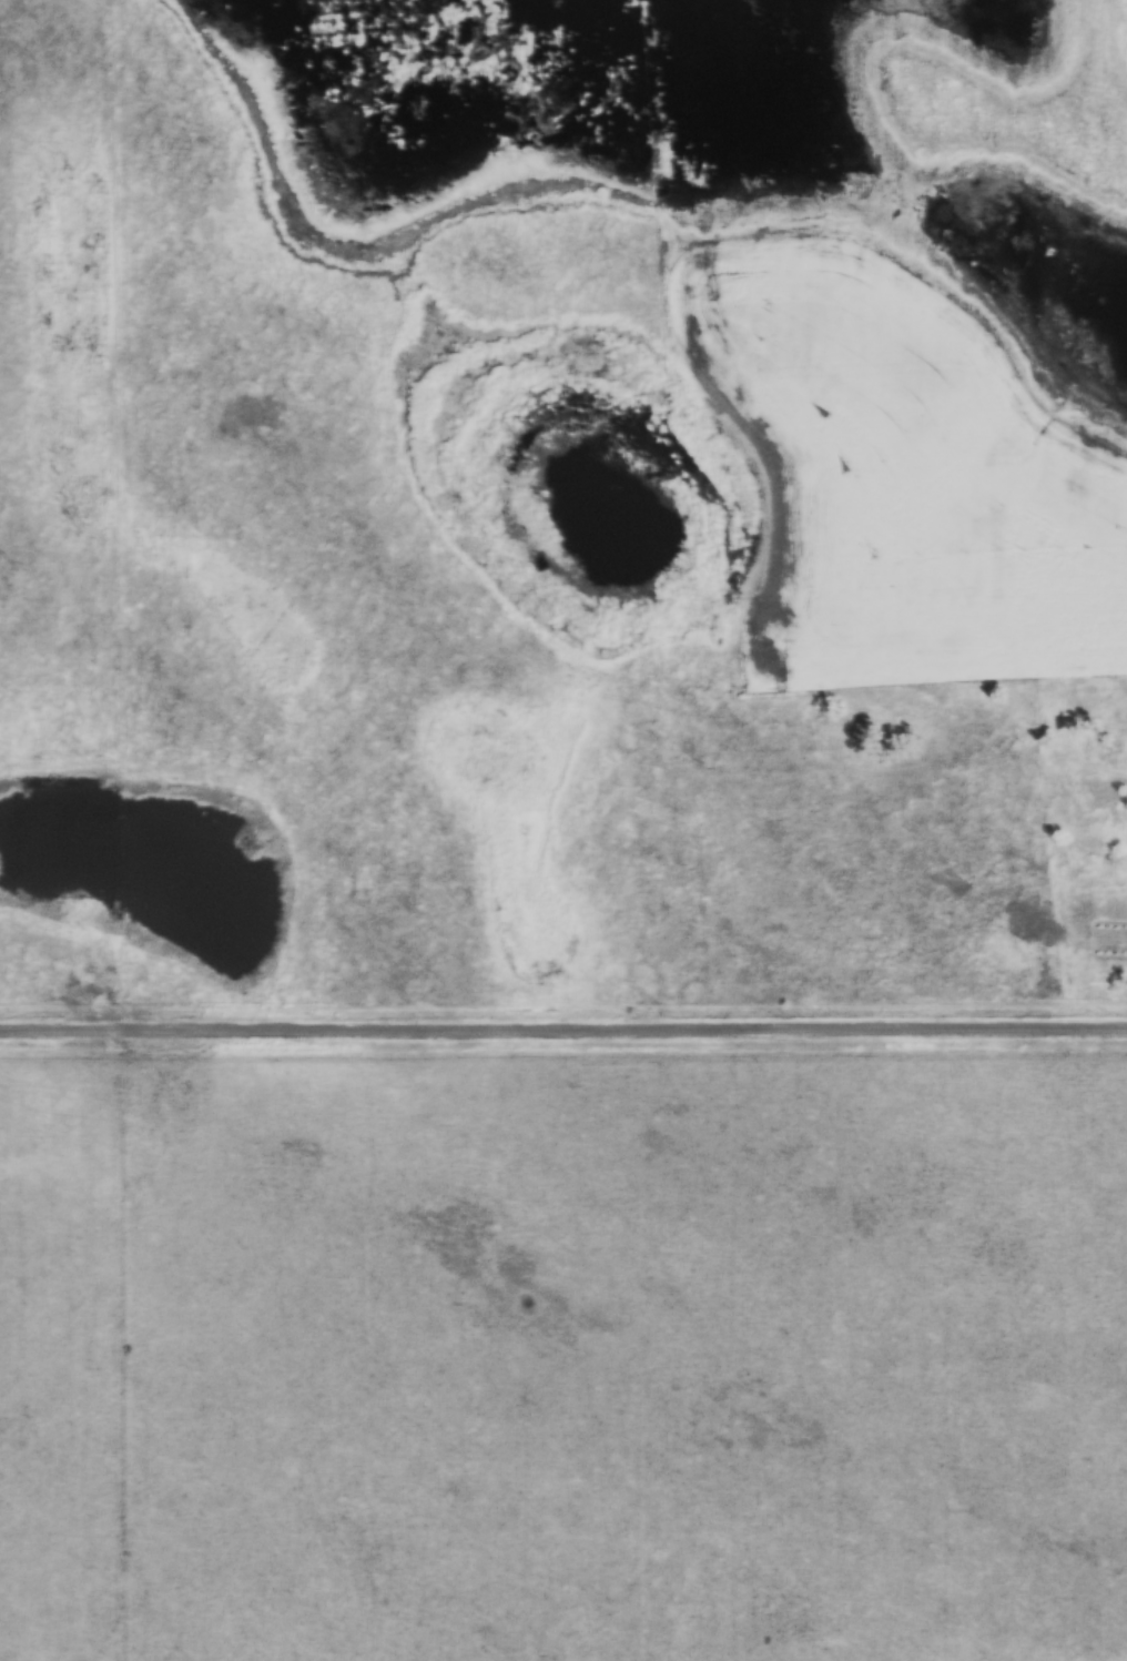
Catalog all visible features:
road: (563, 1039)

